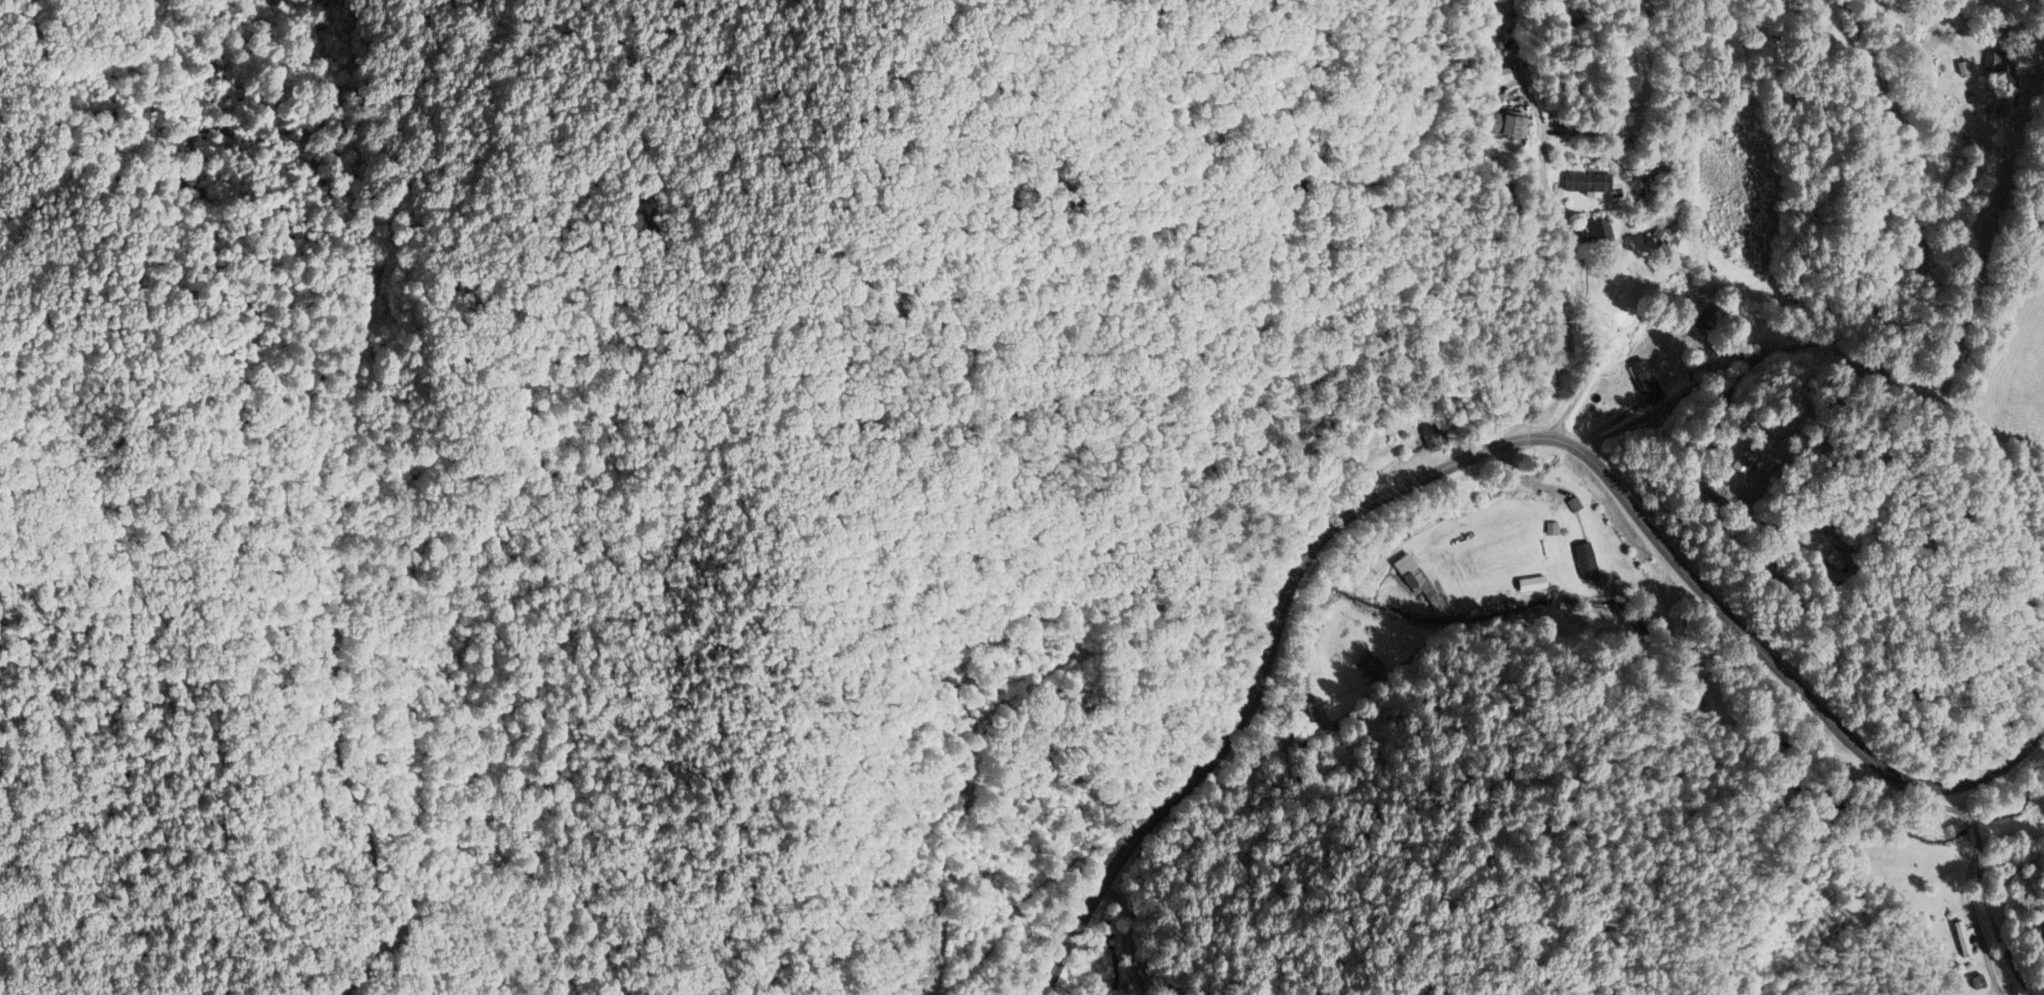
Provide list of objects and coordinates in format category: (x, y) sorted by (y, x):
building: (1507, 126)
building: (1654, 177)
building: (1587, 183)
building: (1598, 232)
building: (1667, 232)
road: (1564, 287)
road: (1745, 355)
building: (1647, 383)
road: (1481, 451)
building: (1838, 559)
building: (1583, 561)
building: (1415, 583)
building: (1530, 584)
building: (1368, 664)
building: (1959, 940)

